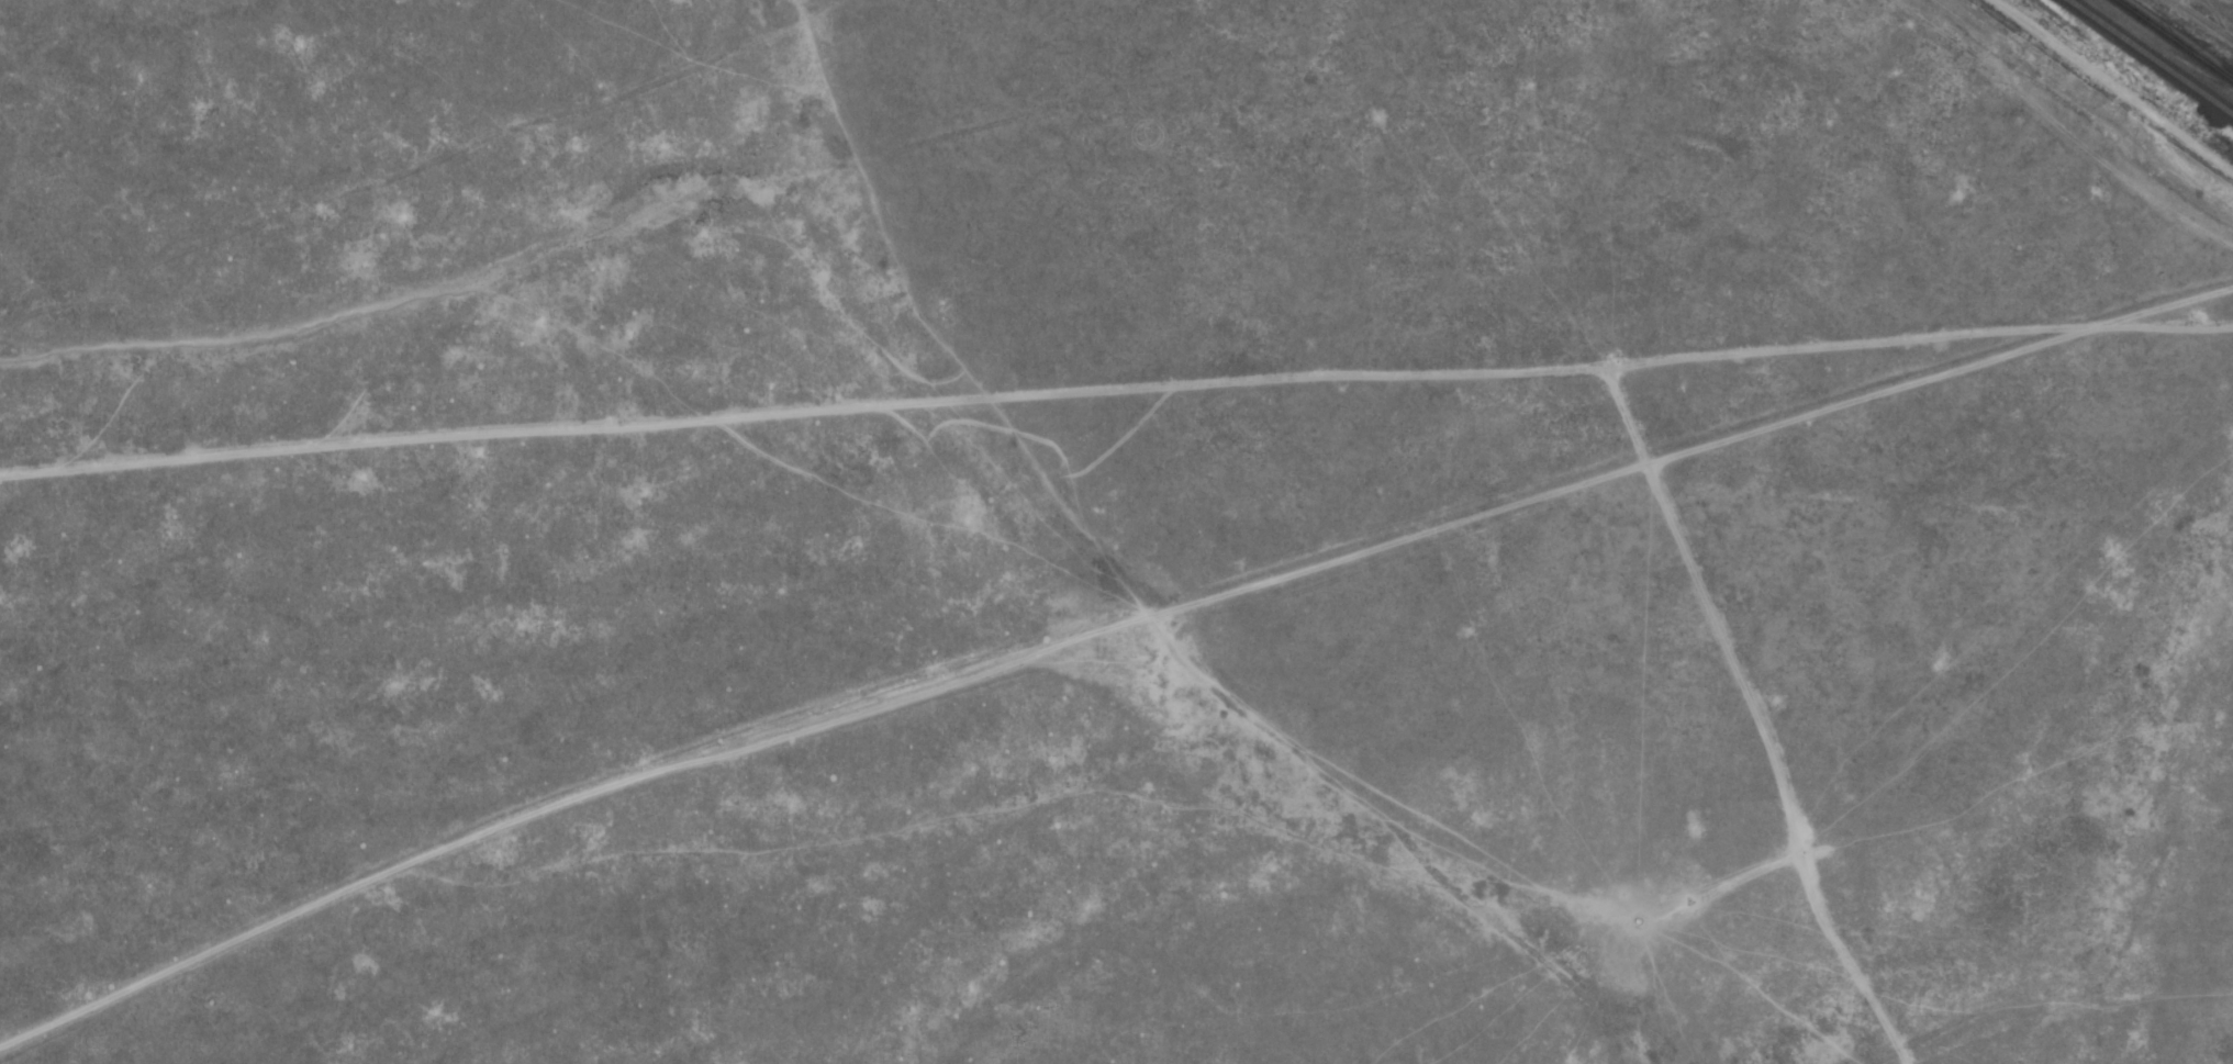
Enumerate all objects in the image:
railway: (2176, 40)
railway: (2150, 57)
road: (2055, 115)

